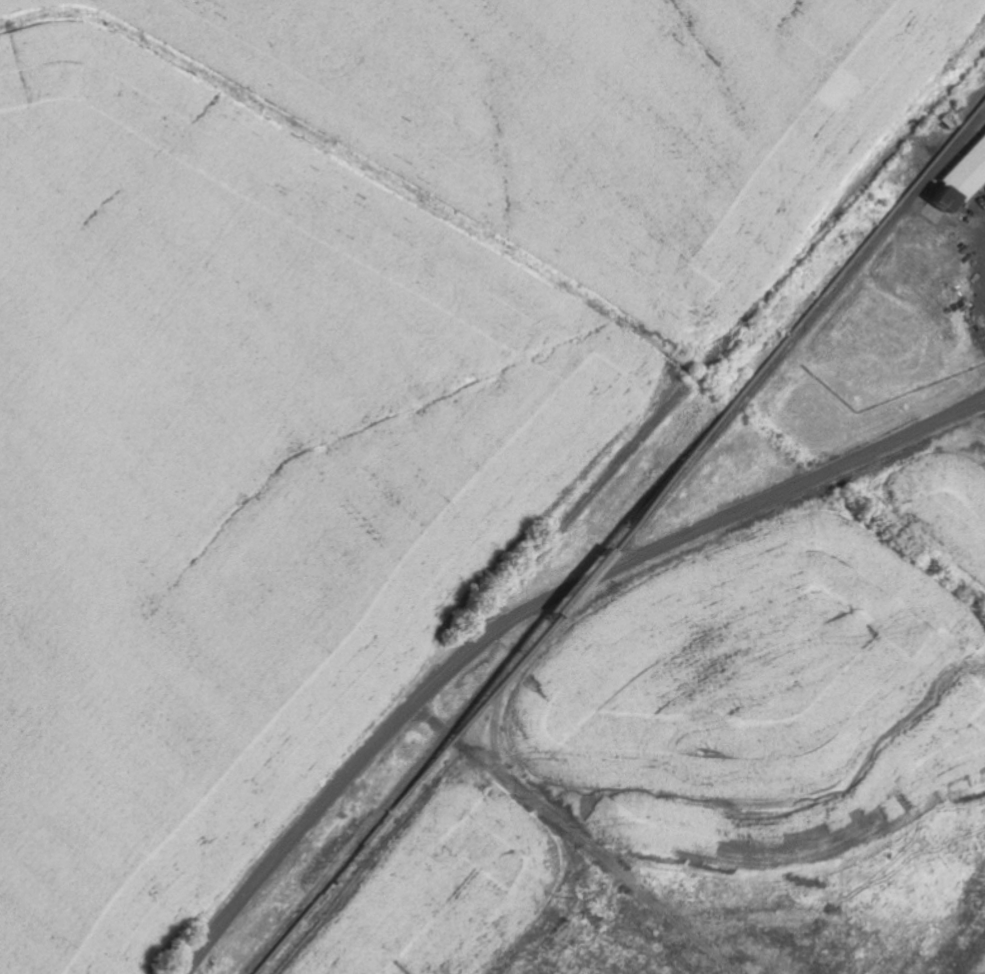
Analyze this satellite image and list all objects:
building: (960, 176)
road: (524, 567)

